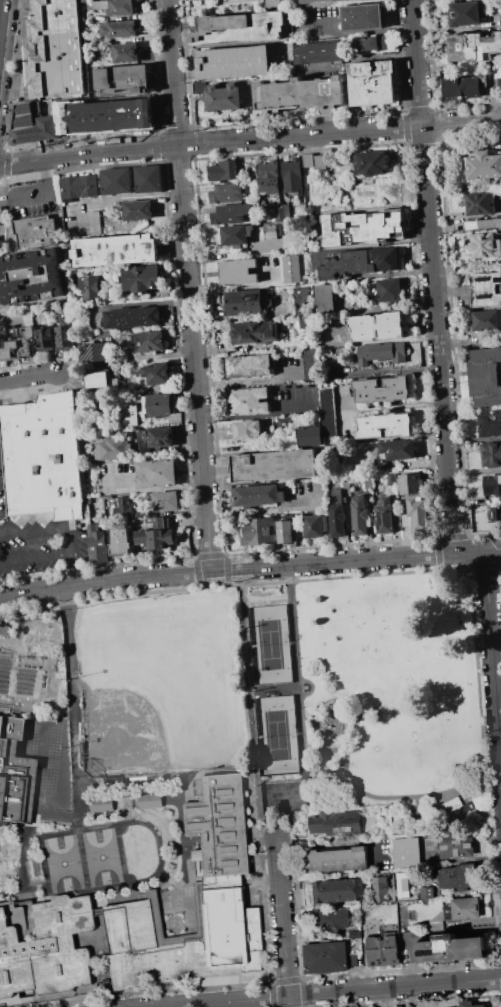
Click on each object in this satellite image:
building: (314, 1)
building: (272, 3)
building: (115, 6)
building: (466, 14)
building: (361, 17)
building: (243, 28)
building: (117, 29)
road: (362, 32)
building: (370, 43)
building: (474, 47)
building: (52, 49)
building: (124, 52)
building: (318, 52)
building: (233, 62)
building: (121, 79)
building: (370, 82)
building: (465, 87)
building: (297, 92)
building: (222, 95)
parking lot: (105, 115)
road: (109, 119)
building: (33, 122)
road: (250, 138)
building: (313, 161)
building: (371, 163)
building: (483, 166)
building: (221, 170)
building: (290, 174)
building: (267, 176)
building: (148, 179)
building: (116, 180)
building: (79, 187)
building: (224, 192)
road: (40, 193)
parking lot: (31, 198)
road: (120, 198)
building: (480, 203)
building: (138, 210)
building: (281, 211)
building: (229, 213)
building: (482, 224)
building: (361, 226)
building: (33, 230)
building: (272, 231)
building: (235, 234)
building: (481, 245)
building: (115, 250)
building: (353, 260)
building: (289, 268)
building: (238, 271)
building: (29, 276)
road: (433, 276)
building: (142, 279)
building: (303, 279)
road: (188, 285)
building: (89, 288)
building: (383, 289)
building: (486, 289)
building: (323, 296)
building: (300, 300)
building: (243, 302)
building: (131, 317)
building: (486, 319)
building: (63, 326)
building: (375, 326)
building: (254, 332)
building: (26, 342)
building: (149, 342)
building: (93, 352)
building: (380, 352)
building: (309, 364)
building: (248, 366)
building: (158, 373)
road: (28, 376)
building: (486, 377)
building: (97, 380)
building: (380, 389)
building: (247, 400)
building: (158, 405)
building: (326, 411)
building: (129, 412)
building: (285, 421)
building: (490, 424)
building: (382, 425)
building: (246, 430)
building: (309, 435)
building: (156, 439)
building: (109, 448)
building: (396, 449)
building: (491, 454)
building: (43, 456)
building: (272, 465)
building: (157, 473)
building: (408, 483)
building: (492, 485)
building: (258, 495)
building: (334, 495)
building: (165, 501)
building: (124, 506)
building: (414, 513)
building: (358, 515)
building: (383, 515)
rooftop solar panel: (381, 519)
building: (336, 520)
building: (313, 526)
road: (62, 529)
building: (256, 531)
building: (283, 531)
building: (156, 535)
parking lot: (38, 538)
building: (120, 542)
building: (96, 543)
road: (493, 549)
road: (470, 551)
road: (36, 559)
road: (226, 570)
building: (6, 630)
park: (268, 644)
road: (492, 655)
road: (298, 678)
park: (163, 684)
road: (71, 696)
road: (252, 699)
park: (367, 700)
road: (371, 709)
park: (276, 734)
building: (15, 773)
road: (299, 792)
road: (387, 796)
building: (150, 800)
building: (101, 804)
building: (452, 804)
building: (333, 823)
road: (338, 843)
building: (457, 846)
building: (406, 853)
park: (101, 856)
building: (337, 859)
park: (63, 862)
building: (455, 875)
building: (216, 884)
building: (401, 884)
building: (380, 889)
building: (337, 890)
building: (426, 891)
building: (465, 907)
building: (332, 918)
road: (283, 924)
building: (354, 933)
building: (44, 946)
building: (449, 948)
building: (382, 950)
building: (325, 957)
road: (325, 992)
building: (463, 1003)

